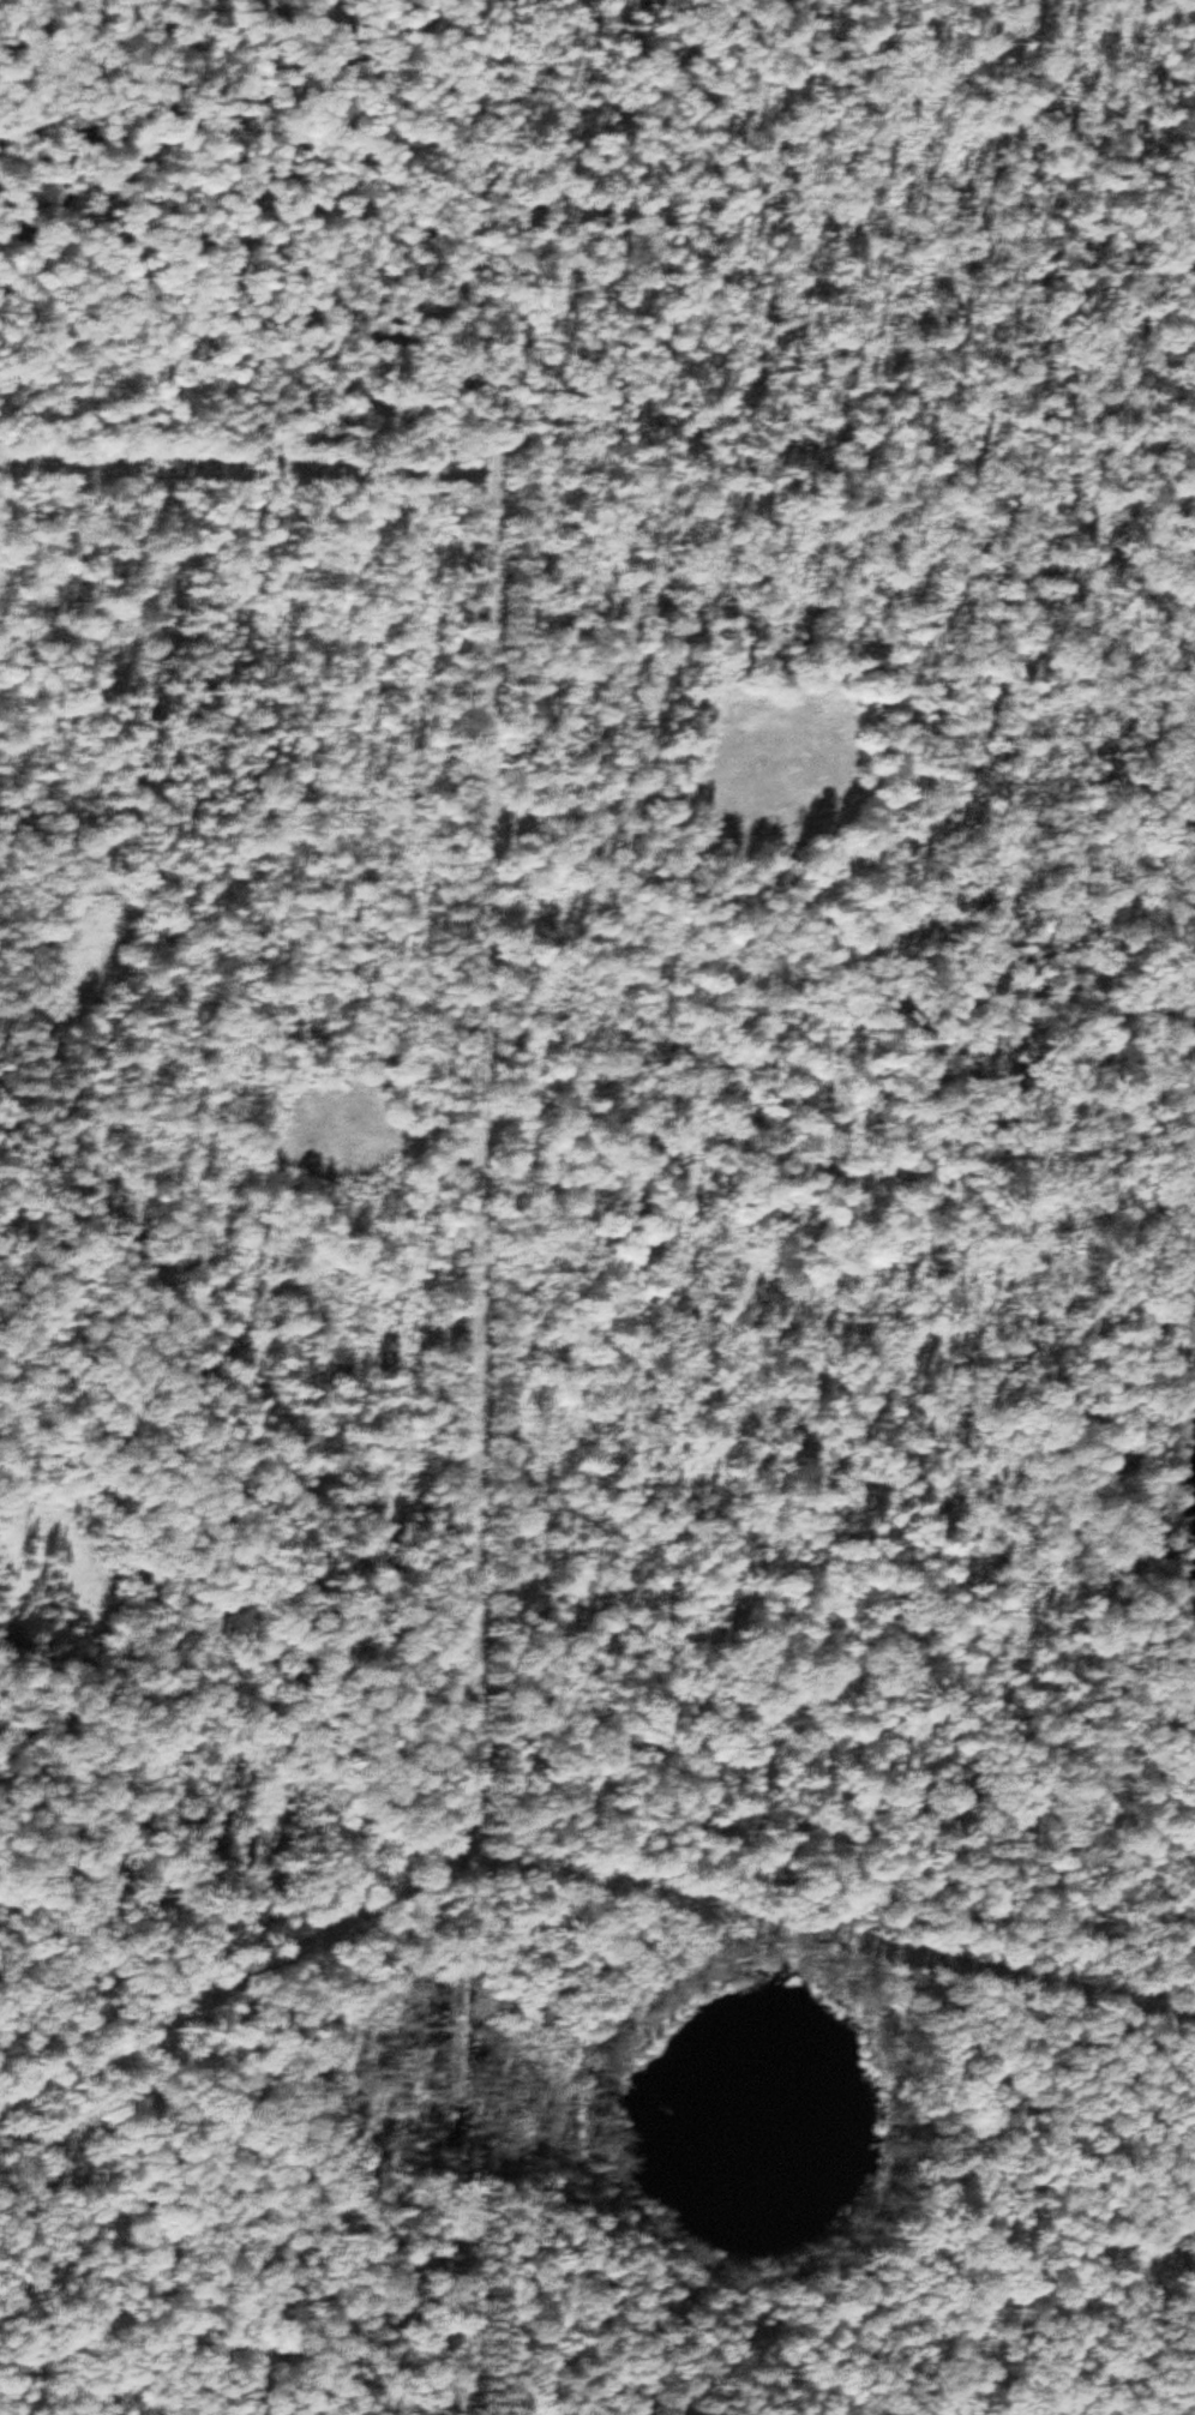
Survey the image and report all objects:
road: (368, 220)
petroleum well: (746, 717)
road: (1089, 1007)
road: (462, 1197)
road: (258, 1478)
road: (851, 1868)
road: (110, 2000)
road: (196, 2114)
road: (1172, 2241)

